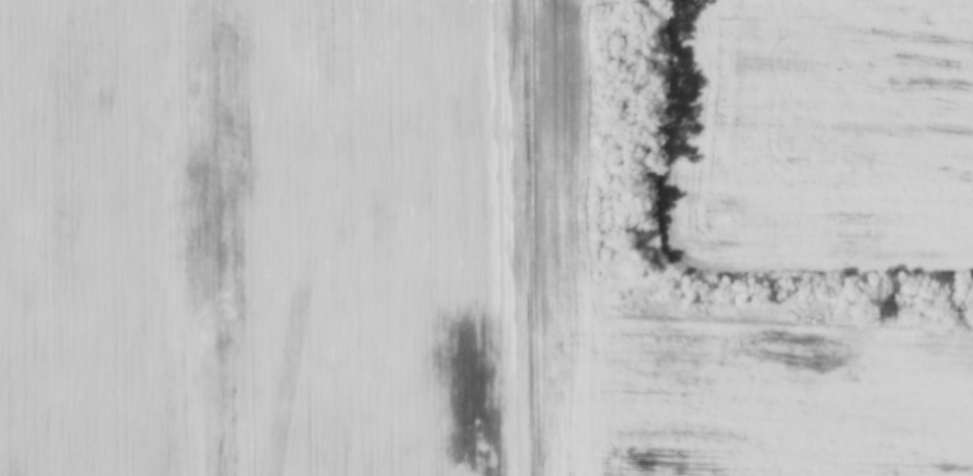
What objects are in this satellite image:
road: (532, 237)

